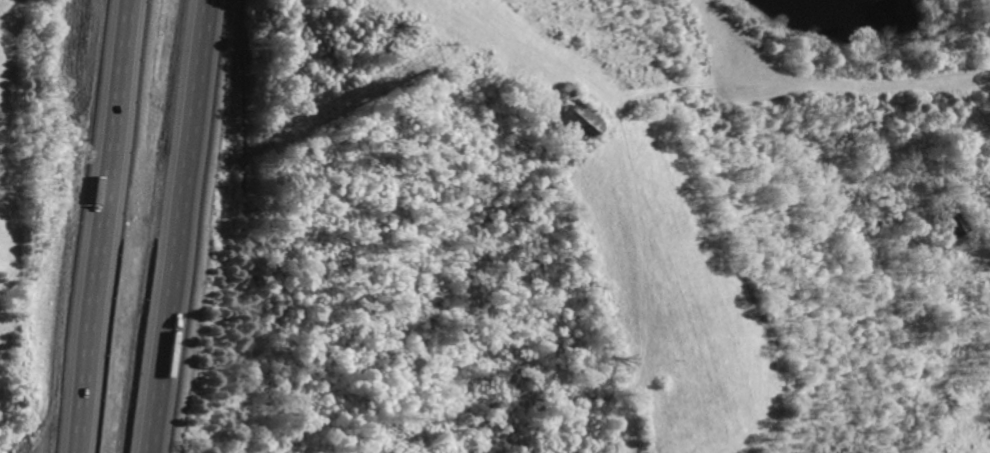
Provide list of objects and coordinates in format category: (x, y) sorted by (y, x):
road: (97, 226)
road: (195, 226)

